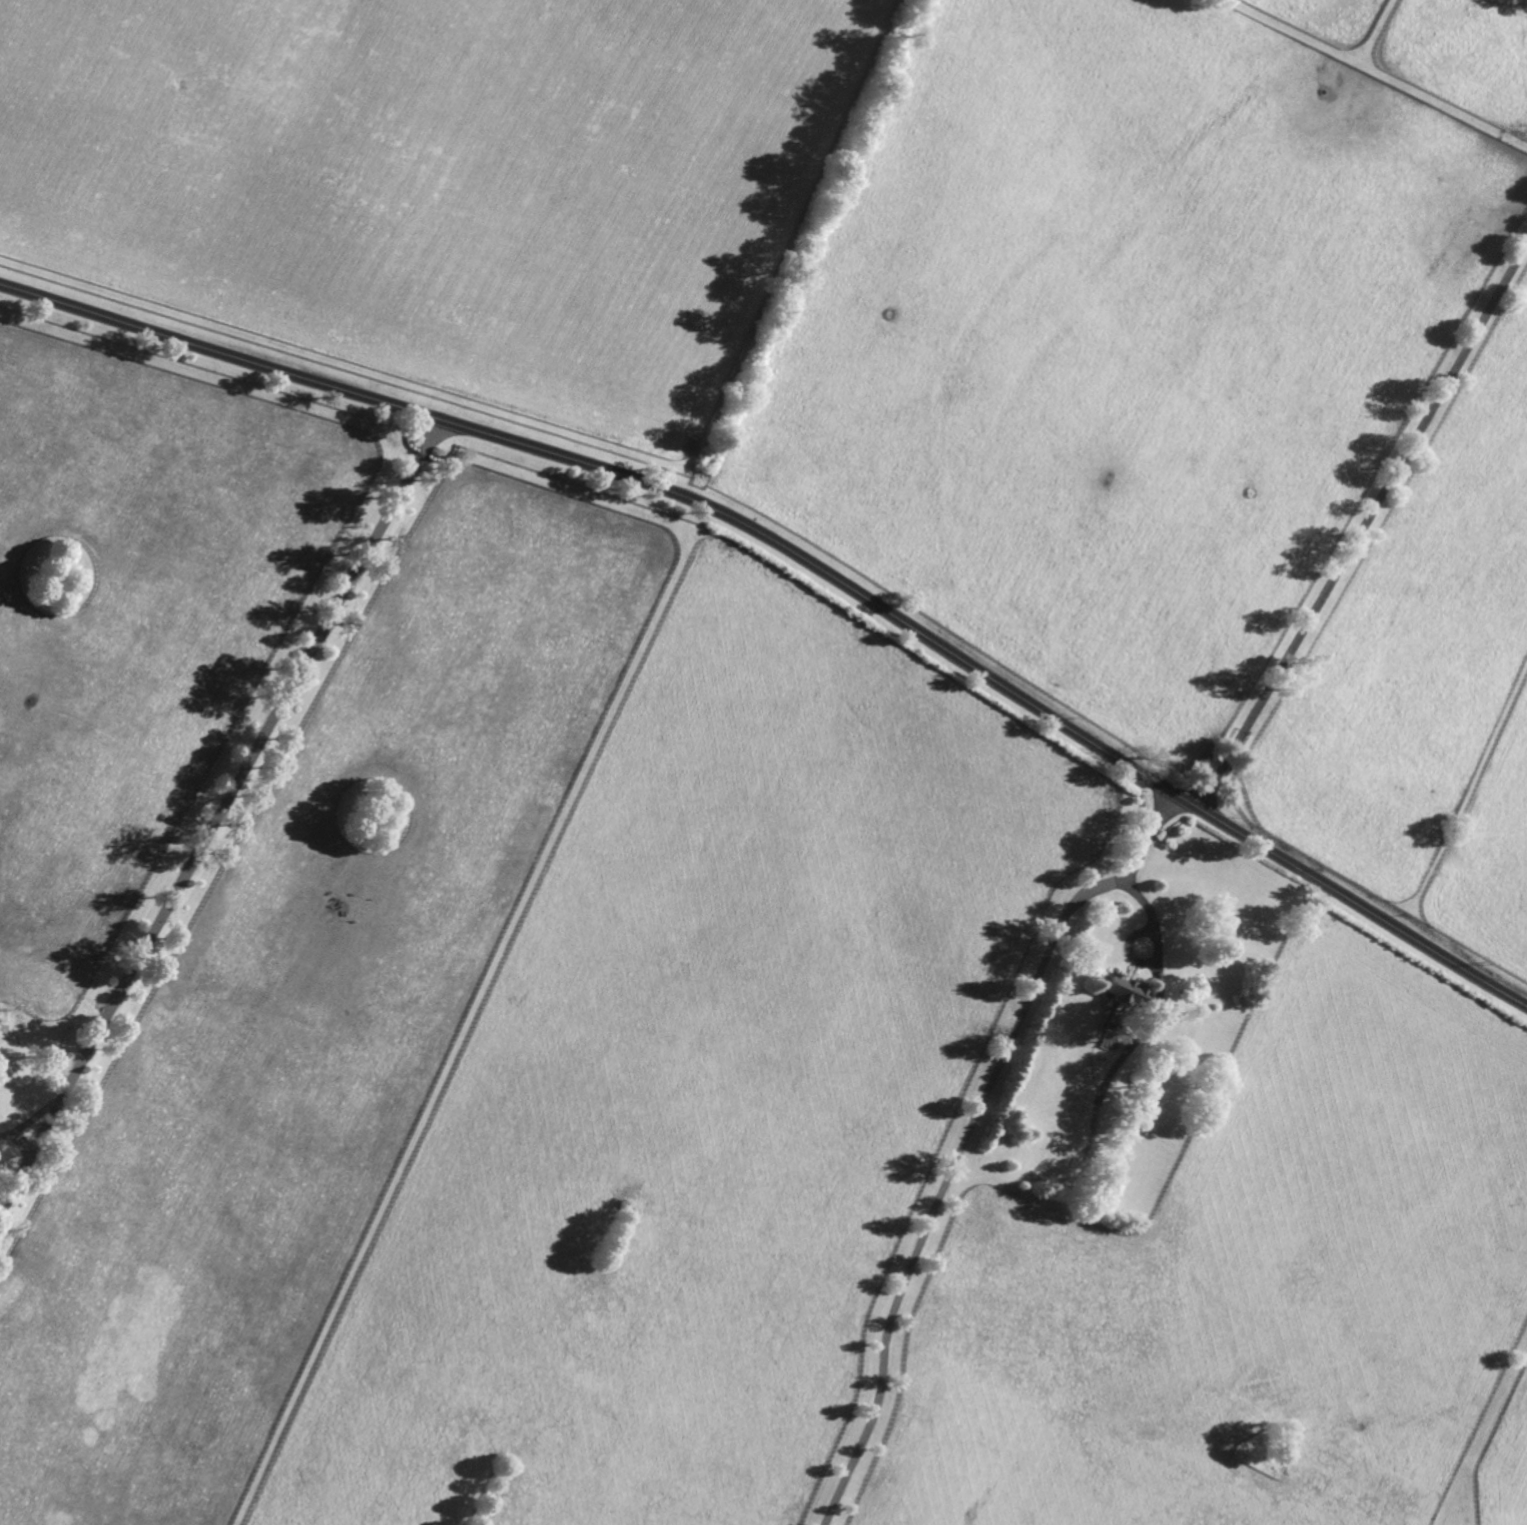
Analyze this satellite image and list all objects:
road: (1363, 525)
road: (802, 558)
road: (219, 813)
road: (1158, 949)
building: (1118, 991)
road: (966, 1138)
road: (16, 1139)
road: (0, 1206)

